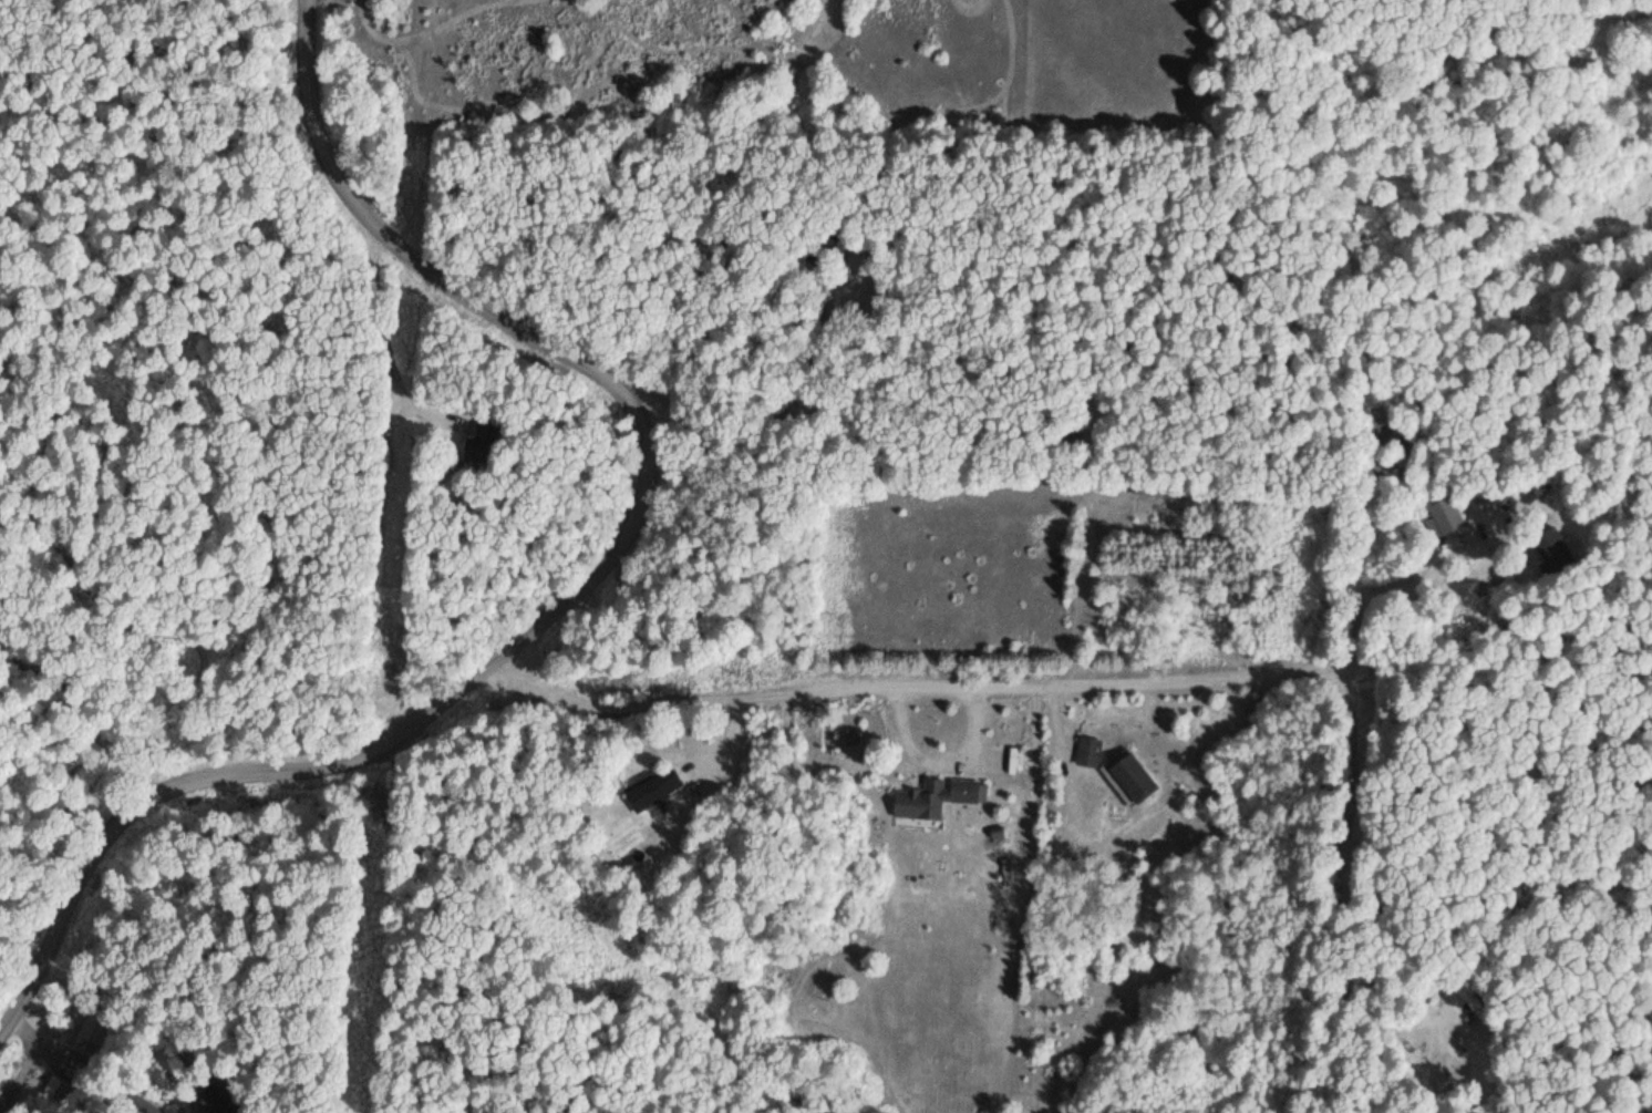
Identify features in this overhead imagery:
building: (476, 442)
building: (1066, 442)
building: (1144, 486)
building: (1441, 516)
building: (1545, 555)
road: (578, 586)
road: (1001, 686)
building: (1085, 751)
building: (1128, 776)
building: (651, 789)
building: (933, 796)
building: (95, 1026)
building: (51, 1085)
building: (199, 1102)

